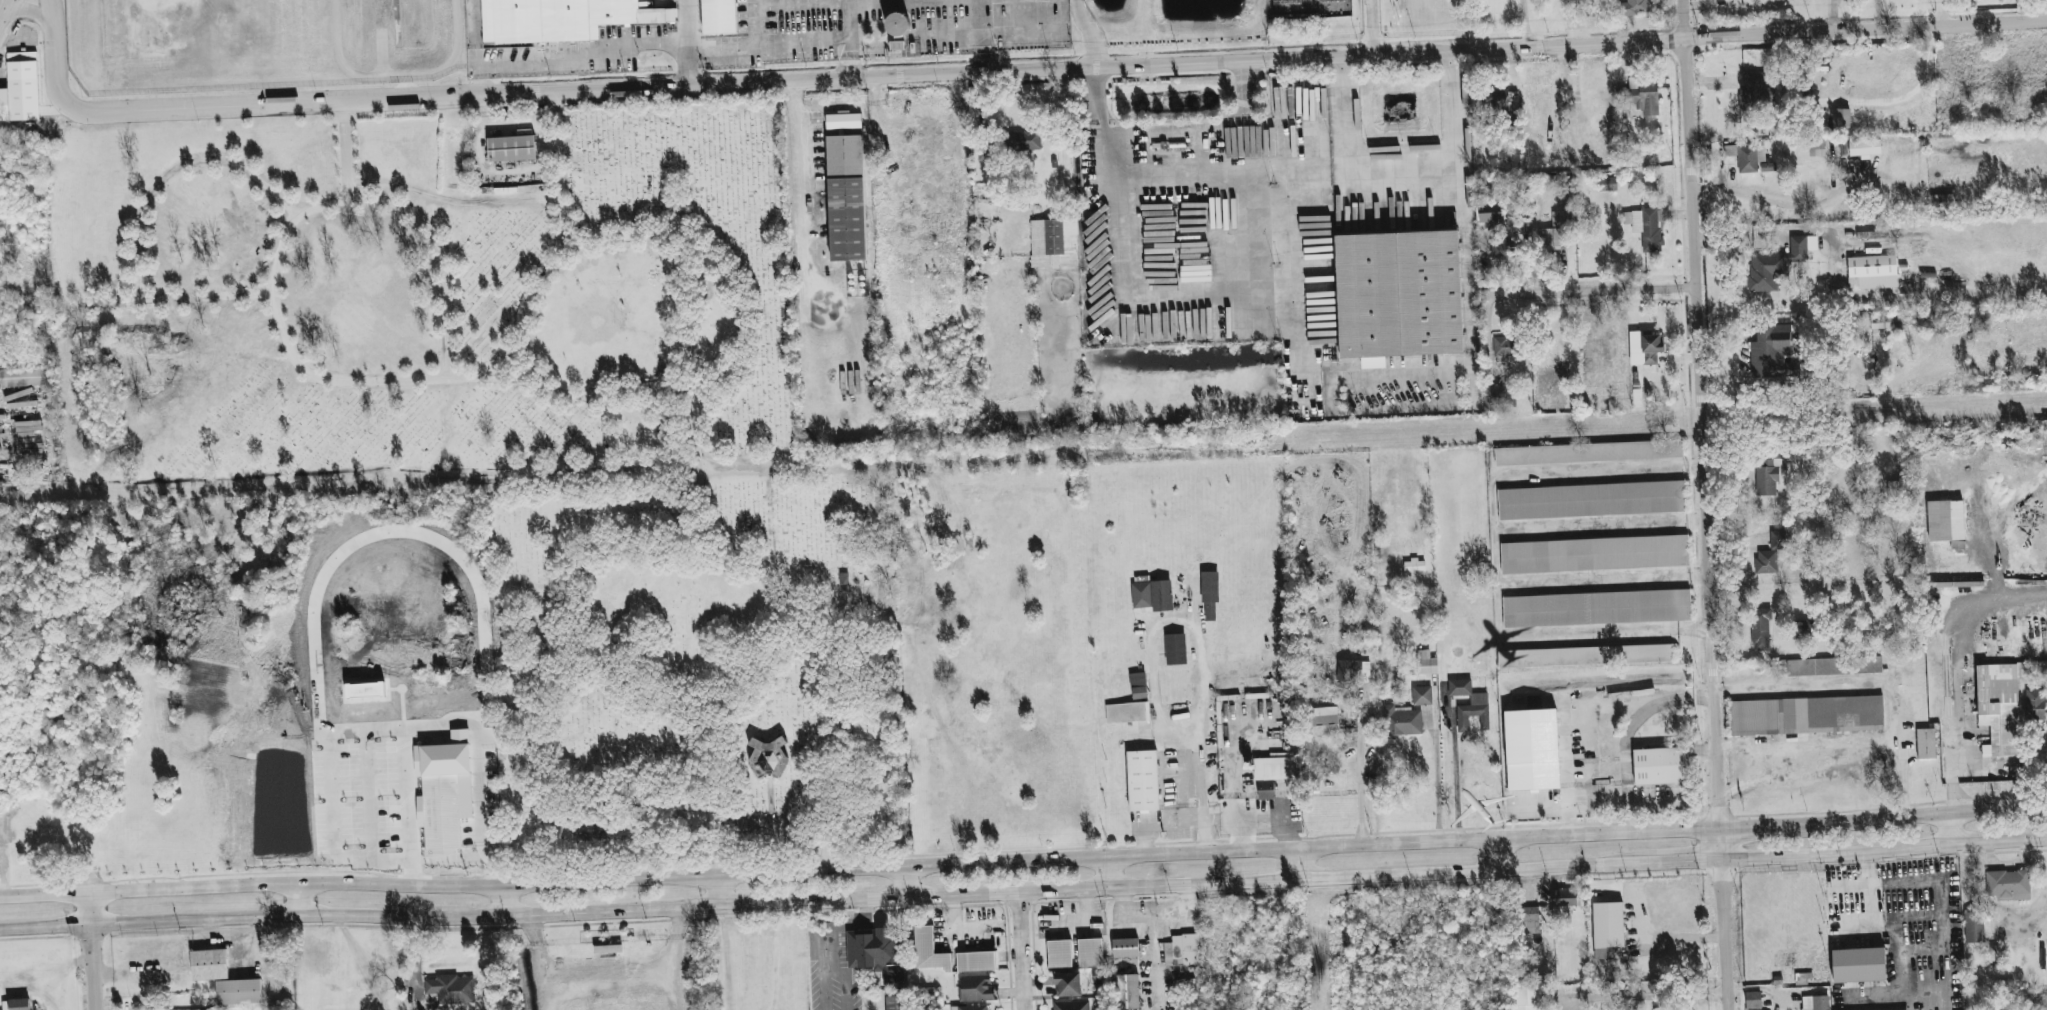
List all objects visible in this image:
building: (1631, 7)
road: (30, 11)
road: (7, 13)
road: (47, 13)
road: (1941, 14)
road: (1875, 15)
road: (1831, 16)
building: (720, 20)
building: (562, 22)
parking lot: (907, 28)
road: (1377, 28)
road: (1093, 33)
road: (852, 40)
road: (690, 43)
road: (1573, 46)
road: (572, 57)
building: (20, 88)
road: (541, 92)
building: (1754, 92)
building: (1644, 96)
road: (1899, 99)
building: (1498, 100)
building: (843, 121)
building: (1022, 141)
building: (1864, 148)
road: (342, 152)
building: (511, 154)
building: (1749, 158)
road: (1716, 163)
road: (1174, 167)
road: (1402, 182)
building: (1607, 184)
road: (809, 188)
building: (846, 198)
road: (1777, 203)
building: (1489, 214)
road: (143, 222)
building: (1647, 226)
building: (1555, 233)
building: (1870, 235)
building: (1053, 243)
road: (583, 245)
road: (1468, 250)
building: (1498, 250)
building: (1777, 264)
building: (1870, 267)
road: (280, 268)
road: (1589, 291)
building: (1401, 302)
building: (1503, 346)
building: (1644, 348)
building: (1770, 352)
road: (1305, 353)
road: (741, 355)
building: (23, 377)
road: (713, 396)
building: (1493, 397)
road: (819, 428)
park: (530, 436)
building: (1588, 452)
building: (1767, 476)
building: (1591, 500)
road: (1707, 504)
building: (1945, 521)
building: (1594, 554)
building: (1770, 554)
building: (1414, 565)
building: (1152, 595)
building: (1209, 596)
road: (800, 599)
building: (1596, 608)
building: (1803, 629)
building: (1760, 630)
building: (1175, 649)
road: (1200, 650)
building: (1584, 656)
building: (1425, 663)
building: (1353, 672)
building: (1138, 686)
building: (364, 691)
road: (1755, 693)
building: (1422, 696)
building: (1469, 705)
building: (2033, 705)
building: (1999, 707)
building: (1127, 713)
building: (1806, 716)
building: (1324, 721)
building: (1401, 721)
building: (1925, 744)
building: (1531, 750)
building: (767, 757)
building: (1659, 766)
building: (1275, 767)
road: (1361, 767)
road: (1902, 775)
road: (1626, 777)
road: (1455, 778)
road: (1436, 779)
building: (1142, 781)
building: (1265, 790)
road: (482, 804)
building: (442, 812)
road: (1927, 814)
road: (1259, 821)
road: (1765, 824)
road: (1161, 825)
road: (1953, 829)
road: (1414, 843)
road: (1885, 852)
road: (1502, 856)
road: (1689, 864)
road: (1296, 865)
road: (1108, 874)
road: (904, 882)
road: (553, 883)
building: (2008, 885)
road: (716, 891)
road: (299, 899)
road: (505, 901)
road: (827, 902)
building: (1563, 902)
road: (1153, 910)
building: (1530, 920)
road: (1941, 923)
building: (1976, 926)
building: (1606, 928)
road: (1643, 933)
road: (249, 945)
building: (1125, 948)
building: (1183, 950)
building: (929, 951)
road: (90, 952)
road: (1021, 952)
building: (1090, 952)
building: (876, 953)
building: (1059, 954)
road: (1152, 960)
building: (975, 961)
building: (209, 965)
building: (1858, 965)
building: (1067, 984)
building: (975, 989)
building: (449, 990)
building: (238, 992)
building: (1128, 992)
building: (1528, 998)
building: (1752, 1000)
building: (895, 1003)
building: (1815, 1003)
building: (16, 1004)
building: (1071, 1005)
building: (1660, 1009)
building: (1753, 1009)

